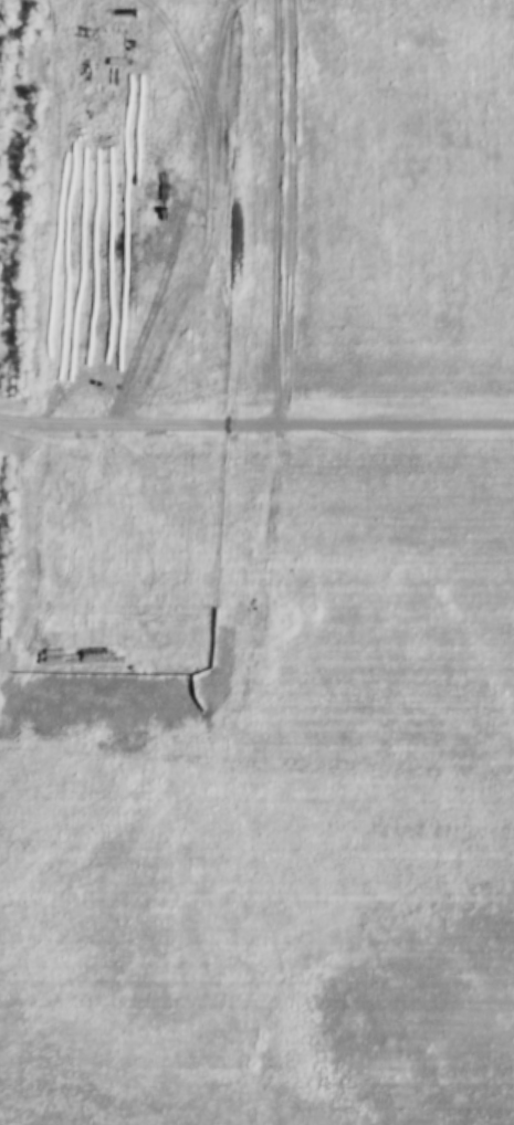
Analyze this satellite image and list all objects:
road: (59, 211)
road: (256, 419)

